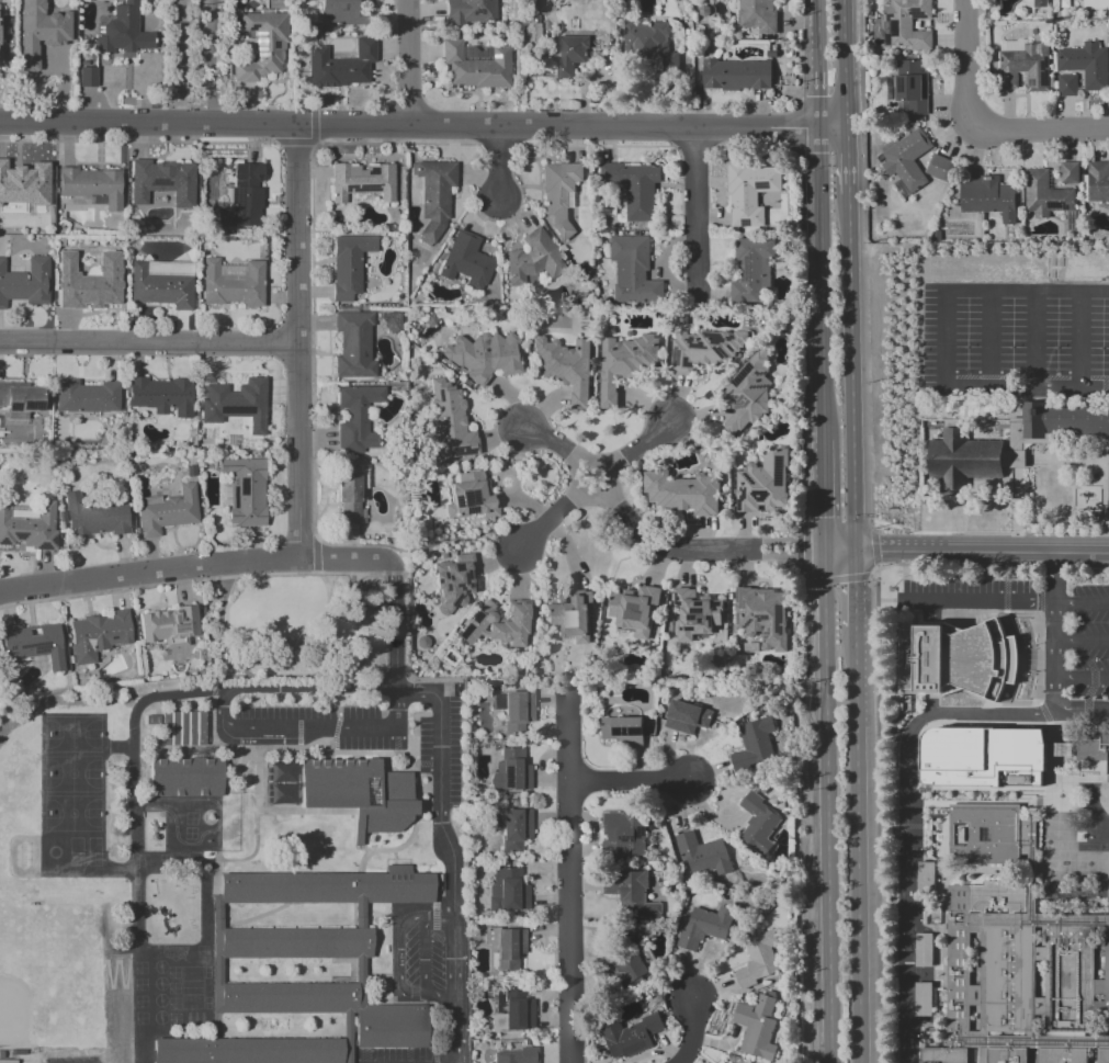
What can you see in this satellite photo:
rooftop solar panel: (467, 0)
building: (1039, 3)
building: (343, 11)
building: (469, 11)
rooftop solar panel: (479, 14)
road: (813, 14)
rooftop solar panel: (887, 14)
rooftop solar panel: (916, 14)
building: (758, 15)
building: (905, 24)
rooftop solar panel: (251, 27)
building: (39, 32)
building: (123, 32)
road: (845, 34)
rooftop solar panel: (260, 43)
building: (648, 43)
rooftop solar panel: (273, 45)
road: (814, 45)
building: (261, 46)
building: (569, 54)
rooftop solar panel: (259, 59)
road: (179, 63)
road: (408, 63)
road: (211, 64)
building: (1086, 64)
building: (1023, 65)
building: (340, 66)
building: (475, 66)
building: (736, 75)
building: (87, 77)
building: (1066, 84)
building: (910, 87)
road: (815, 94)
road: (846, 97)
road: (983, 123)
road: (148, 125)
road: (555, 127)
road: (831, 127)
building: (906, 159)
road: (848, 160)
road: (500, 168)
building: (940, 168)
building: (1068, 172)
building: (162, 181)
building: (361, 181)
building: (1098, 181)
rooftop solar panel: (160, 182)
building: (24, 183)
rooftop solar panel: (759, 184)
building: (92, 185)
building: (634, 186)
rooftop solar panel: (360, 189)
building: (559, 193)
building: (750, 193)
building: (1044, 194)
building: (244, 197)
building: (433, 197)
building: (987, 197)
road: (694, 208)
road: (819, 218)
road: (851, 251)
building: (532, 258)
building: (466, 261)
building: (348, 264)
building: (751, 270)
building: (633, 271)
rooftop solar panel: (746, 275)
building: (25, 282)
building: (89, 282)
rooftop solar panel: (756, 282)
building: (233, 283)
building: (160, 289)
building: (391, 321)
parking lot: (1016, 331)
road: (944, 340)
road: (987, 340)
road: (1033, 340)
road: (1078, 340)
road: (296, 343)
building: (353, 344)
road: (148, 346)
building: (704, 349)
rooftop solar panel: (674, 350)
building: (483, 355)
rooftop solar panel: (674, 359)
building: (624, 363)
building: (564, 366)
rooftop solar panel: (740, 374)
rooftop solar panel: (760, 374)
road: (823, 375)
rooftop solar panel: (758, 387)
building: (746, 393)
building: (86, 396)
building: (161, 396)
building: (20, 399)
rooftop solar panel: (737, 403)
building: (235, 404)
building: (357, 417)
building: (448, 421)
building: (1055, 422)
road: (855, 429)
road: (552, 443)
road: (643, 444)
rooftop solar panel: (464, 451)
building: (967, 459)
rooftop solar panel: (778, 470)
road: (576, 475)
building: (762, 483)
building: (1108, 483)
building: (245, 490)
building: (682, 493)
building: (351, 495)
road: (824, 496)
building: (469, 497)
rooftop solar panel: (466, 498)
rooftop solar panel: (453, 502)
building: (167, 510)
rooftop solar panel: (467, 511)
traffic signals: (824, 513)
building: (93, 517)
road: (546, 522)
building: (30, 528)
rooftop solar panel: (20, 536)
rooftop solar panel: (55, 540)
road: (778, 541)
rooftop solar panel: (3, 542)
road: (659, 545)
rooftop solar panel: (45, 546)
road: (803, 547)
road: (873, 547)
road: (840, 551)
traffic signals: (871, 552)
road: (982, 552)
road: (778, 556)
traffic signals: (802, 556)
road: (346, 561)
road: (992, 565)
rooftop solar panel: (454, 567)
road: (872, 570)
road: (149, 573)
rooftop solar panel: (442, 575)
rooftop solar panel: (445, 578)
road: (835, 579)
traffic signals: (858, 580)
rooftop solar panel: (435, 581)
building: (453, 583)
rooftop solar panel: (441, 588)
road: (858, 589)
parking lot: (967, 591)
rooftop solar panel: (441, 593)
rooftop solar panel: (737, 596)
road: (977, 601)
road: (1082, 603)
rooftop solar panel: (740, 606)
building: (634, 610)
building: (695, 613)
building: (761, 615)
rooftop solar panel: (476, 617)
rooftop solar panel: (759, 617)
rooftop solar panel: (776, 617)
rooftop solar panel: (736, 618)
rooftop solar panel: (746, 623)
building: (497, 624)
building: (169, 625)
rooftop solar panel: (778, 629)
rooftop solar panel: (465, 630)
park: (294, 631)
road: (1055, 632)
rooftop solar panel: (765, 634)
building: (97, 635)
road: (1082, 642)
parking lot: (1093, 642)
building: (33, 643)
road: (394, 645)
rooftop solar panel: (39, 648)
building: (959, 659)
road: (236, 663)
road: (285, 678)
road: (1082, 680)
rooftop solar panel: (498, 701)
road: (223, 711)
building: (517, 711)
road: (1082, 712)
parking lot: (307, 713)
building: (686, 716)
building: (183, 730)
building: (622, 731)
road: (133, 733)
rooftop solar panel: (618, 733)
rooftop solar panel: (623, 733)
rooftop solar panel: (631, 733)
park: (72, 735)
parking lot: (370, 745)
parking lot: (425, 746)
building: (752, 746)
building: (1093, 748)
parking lot: (455, 753)
building: (977, 754)
building: (511, 771)
park: (72, 776)
rooftop solar panel: (508, 776)
building: (185, 777)
road: (630, 780)
building: (349, 784)
road: (827, 806)
road: (811, 814)
park: (72, 815)
building: (392, 821)
road: (908, 821)
building: (757, 824)
building: (510, 826)
building: (623, 834)
building: (985, 835)
road: (858, 846)
building: (702, 853)
road: (453, 857)
rooftop solar panel: (926, 871)
building: (925, 875)
road: (569, 878)
building: (328, 890)
building: (507, 891)
building: (630, 894)
parking lot: (910, 897)
building: (998, 897)
building: (705, 926)
building: (297, 943)
building: (506, 947)
building: (923, 950)
road: (428, 957)
rooftop solar panel: (923, 957)
road: (399, 958)
building: (761, 958)
parking lot: (423, 959)
building: (627, 965)
building: (958, 968)
building: (1007, 979)
building: (1070, 979)
building: (1107, 985)
building: (290, 998)
rooftop solar panel: (924, 1000)
building: (511, 1009)
park: (10, 1010)
building: (398, 1027)
building: (756, 1027)
road: (692, 1031)
building: (630, 1037)
building: (249, 1051)
parking lot: (392, 1055)
building: (514, 1055)
building: (944, 1055)
building: (1007, 1055)
building: (1062, 1056)
building: (1104, 1056)

